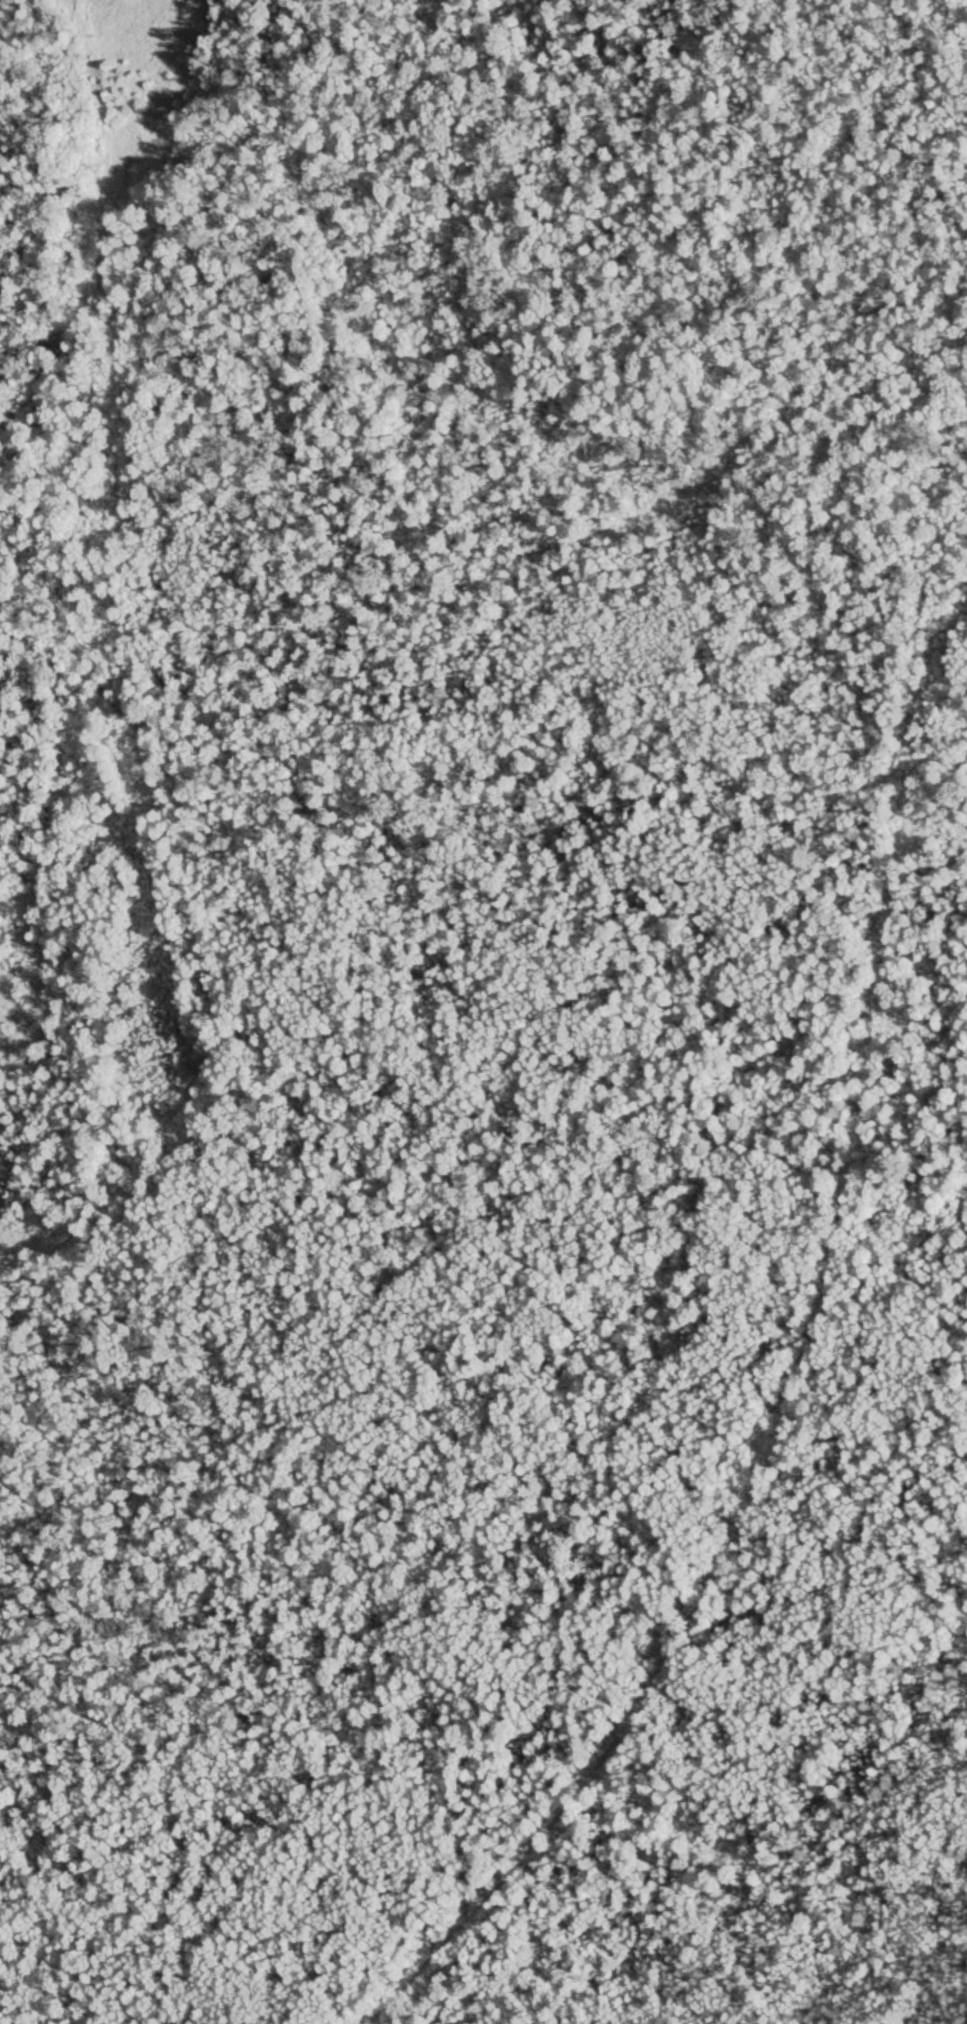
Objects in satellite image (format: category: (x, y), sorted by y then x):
road: (794, 1385)

